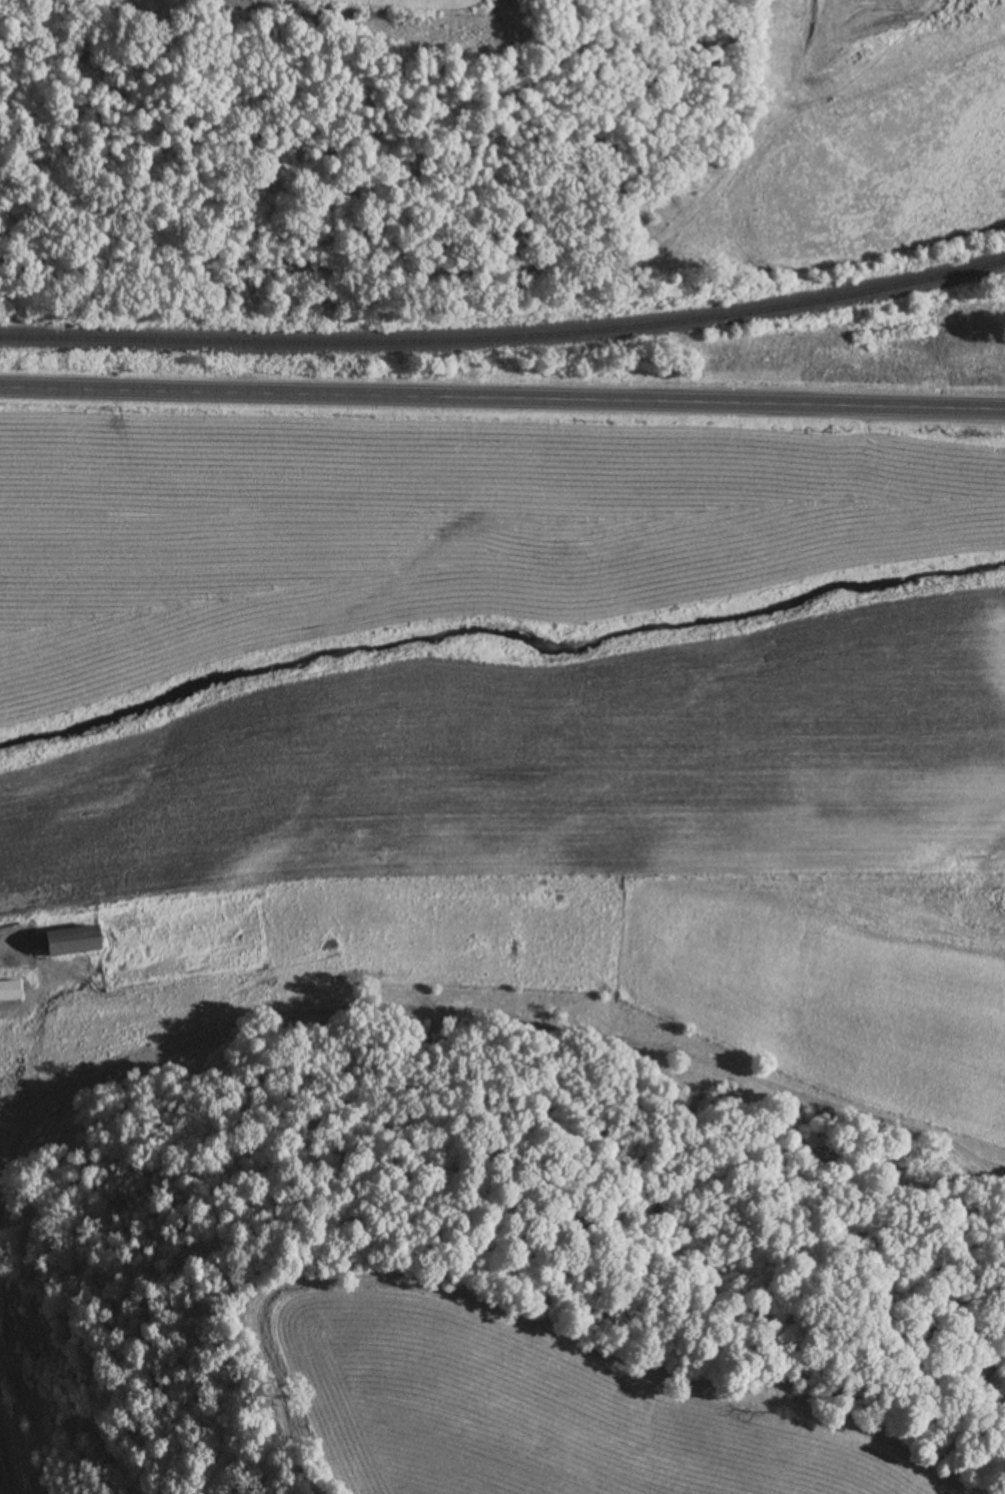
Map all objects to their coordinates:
railway: (505, 338)
road: (502, 398)
building: (69, 940)
building: (9, 989)

